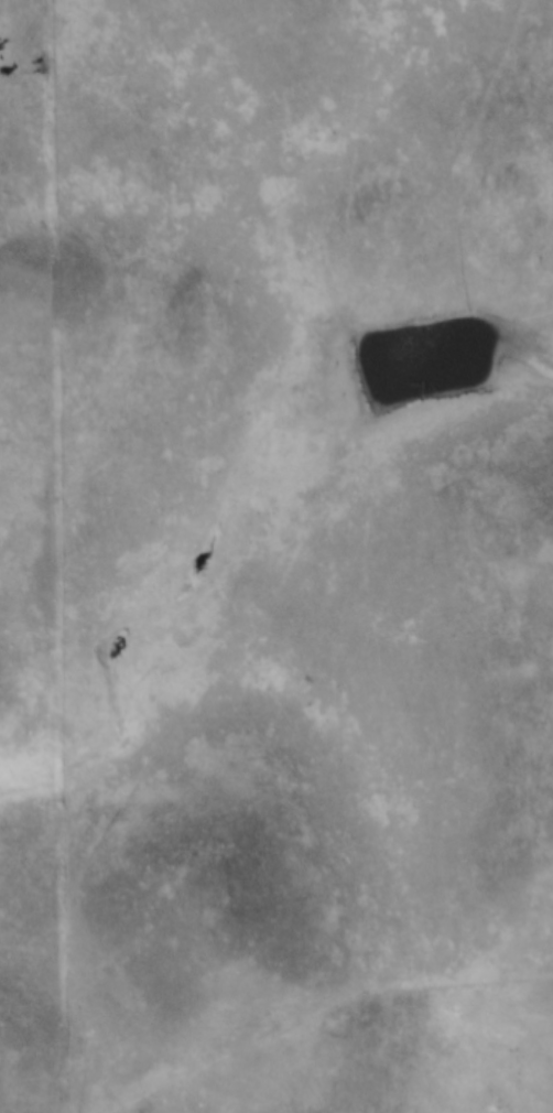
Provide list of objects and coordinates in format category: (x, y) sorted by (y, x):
road: (307, 1020)

